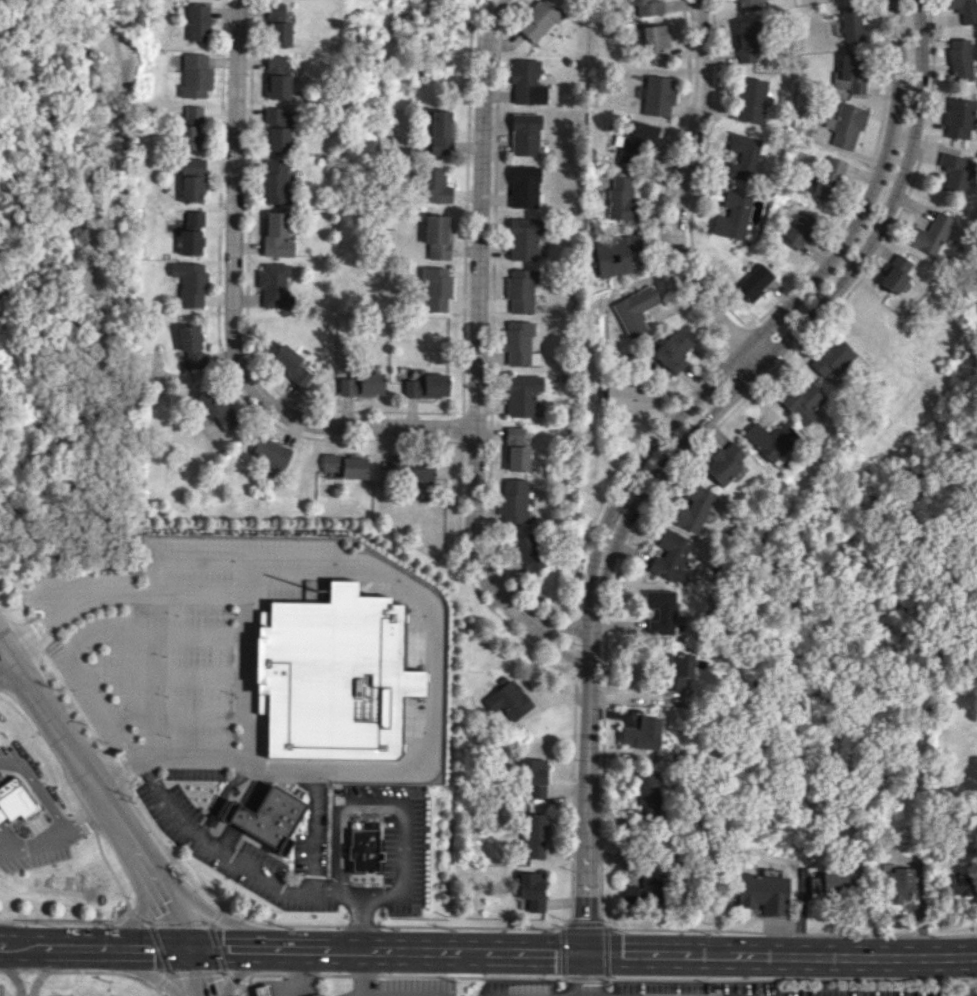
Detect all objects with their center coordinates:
building: (748, 5)
building: (648, 7)
building: (965, 10)
building: (540, 21)
building: (198, 22)
building: (838, 23)
building: (852, 24)
building: (277, 26)
building: (747, 41)
building: (658, 43)
building: (960, 59)
building: (850, 73)
building: (196, 75)
building: (277, 77)
building: (527, 82)
building: (658, 95)
building: (750, 99)
building: (957, 117)
building: (845, 124)
building: (192, 128)
building: (278, 129)
building: (441, 132)
building: (526, 134)
building: (636, 138)
building: (952, 173)
building: (828, 176)
building: (193, 180)
building: (274, 181)
building: (435, 185)
building: (525, 186)
road: (685, 196)
building: (621, 198)
building: (731, 215)
building: (796, 229)
building: (192, 233)
building: (927, 233)
building: (276, 235)
building: (438, 236)
building: (524, 238)
building: (614, 254)
building: (893, 273)
building: (754, 281)
building: (191, 283)
building: (274, 285)
building: (436, 288)
building: (521, 290)
road: (796, 296)
road: (821, 303)
building: (634, 310)
road: (236, 311)
road: (478, 324)
building: (519, 344)
building: (192, 345)
building: (672, 350)
building: (830, 355)
building: (291, 364)
building: (363, 384)
building: (426, 386)
building: (521, 394)
building: (624, 397)
building: (799, 401)
building: (218, 407)
parking lot: (0, 419)
building: (768, 439)
building: (515, 449)
building: (271, 452)
road: (685, 455)
building: (331, 462)
building: (722, 462)
building: (354, 467)
building: (421, 469)
building: (514, 502)
building: (693, 508)
building: (529, 552)
building: (670, 555)
building: (660, 611)
road: (12, 612)
road: (566, 629)
road: (245, 632)
road: (33, 636)
road: (560, 650)
road: (5, 652)
road: (431, 662)
road: (5, 663)
building: (680, 671)
road: (164, 675)
building: (333, 676)
parking lot: (190, 683)
building: (509, 698)
road: (589, 702)
road: (76, 704)
road: (177, 715)
road: (121, 732)
building: (643, 732)
road: (66, 742)
road: (118, 770)
building: (535, 777)
street lamp: (329, 779)
street lamp: (411, 787)
road: (255, 788)
road: (39, 790)
building: (647, 792)
road: (220, 794)
building: (14, 800)
road: (403, 804)
road: (335, 814)
building: (236, 815)
street lamp: (350, 815)
road: (363, 815)
road: (240, 816)
road: (89, 818)
building: (275, 818)
road: (344, 823)
road: (379, 829)
building: (535, 835)
road: (228, 837)
road: (48, 841)
parking lot: (396, 842)
building: (364, 846)
road: (175, 849)
road: (12, 850)
road: (380, 872)
road: (154, 879)
building: (828, 880)
street lamp: (349, 882)
building: (901, 884)
building: (961, 885)
building: (531, 889)
building: (644, 890)
road: (334, 891)
road: (570, 891)
building: (764, 893)
road: (353, 895)
road: (398, 895)
road: (142, 901)
road: (197, 903)
road: (585, 904)
road: (128, 907)
street lamp: (414, 910)
street lamp: (568, 914)
road: (137, 916)
road: (216, 916)
road: (66, 921)
road: (147, 921)
road: (150, 922)
road: (211, 922)
road: (179, 923)
road: (207, 924)
road: (281, 925)
road: (360, 926)
road: (14, 934)
road: (105, 934)
traffic signals: (182, 935)
road: (260, 937)
road: (187, 946)
road: (159, 947)
road: (217, 947)
road: (398, 948)
road: (521, 950)
road: (562, 951)
traffic signals: (584, 952)
road: (657, 952)
road: (605, 953)
road: (15, 956)
road: (111, 956)
road: (854, 956)
traffic signals: (193, 958)
road: (266, 958)
road: (47, 968)
road: (7, 970)
road: (26, 970)
road: (224, 970)
road: (45, 971)
road: (106, 971)
road: (168, 971)
road: (198, 971)
road: (224, 971)
road: (300, 971)
road: (361, 971)
road: (149, 973)
road: (170, 973)
road: (235, 973)
road: (257, 974)
road: (300, 974)
road: (333, 974)
road: (584, 974)
road: (363, 975)
road: (468, 976)
road: (198, 977)
road: (231, 977)
road: (14, 978)
road: (627, 978)
road: (162, 981)
street lamp: (551, 981)
gas station: (288, 987)
parking lot: (408, 987)
building: (264, 990)
road: (158, 991)
road: (240, 991)
parking lot: (2, 992)
parking lot: (57, 995)
building: (319, 995)
road: (589, 995)

